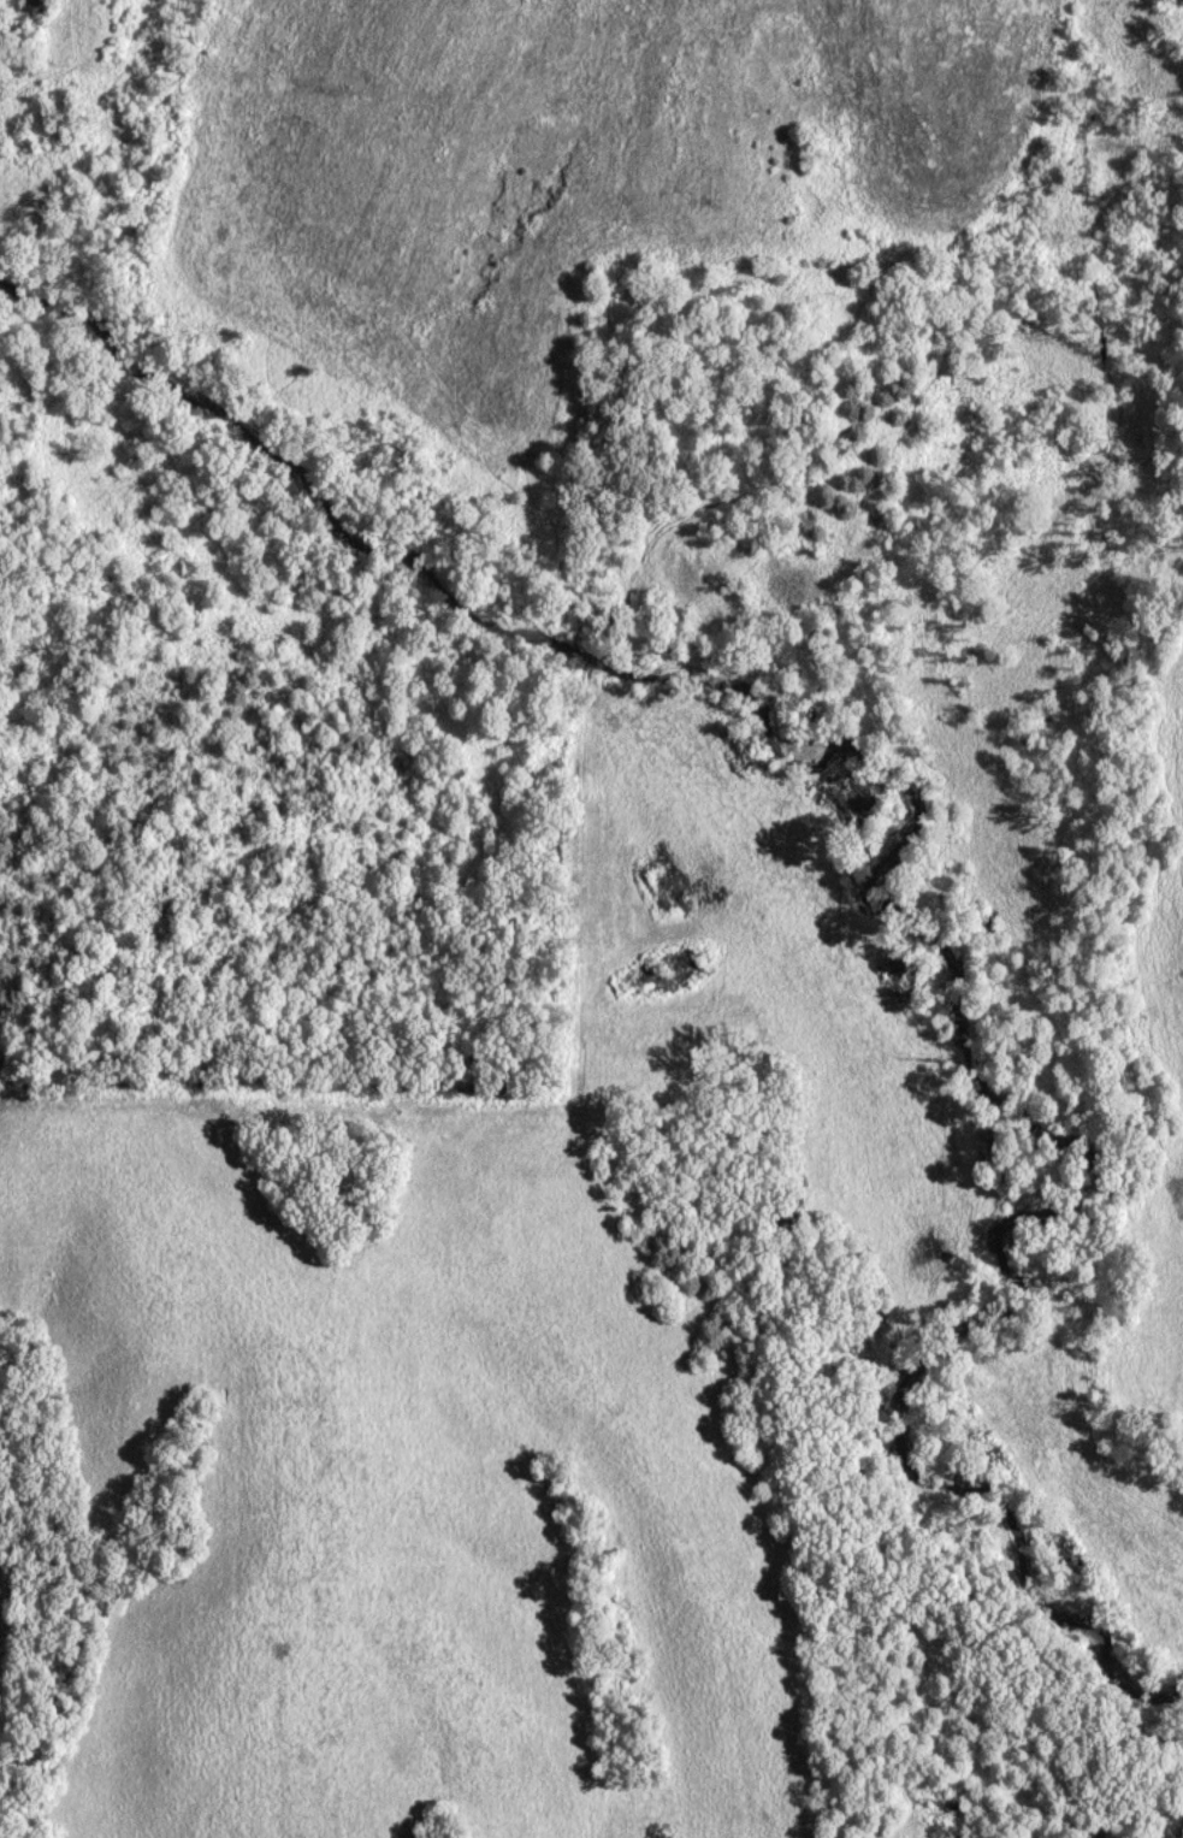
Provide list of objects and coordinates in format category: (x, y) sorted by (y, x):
building: (31, 6)

